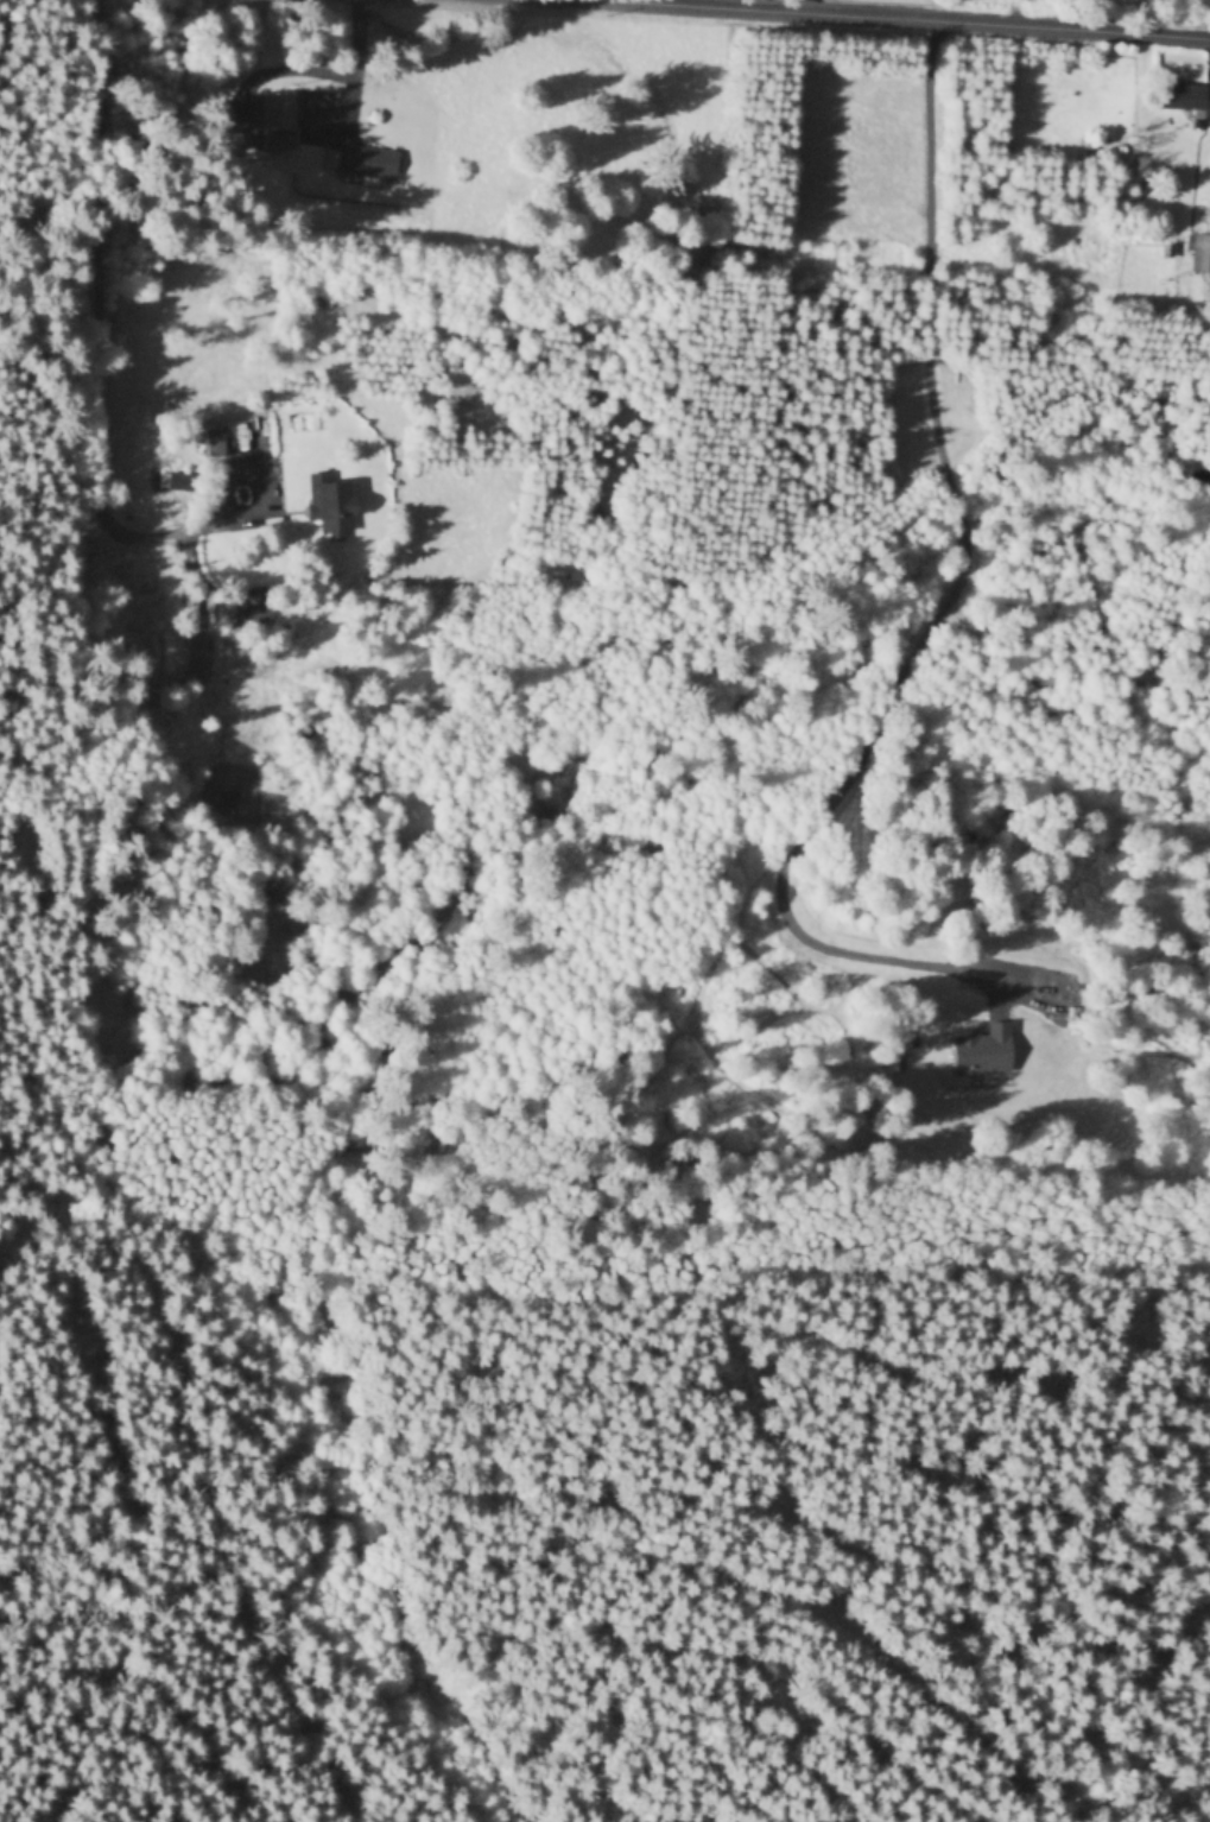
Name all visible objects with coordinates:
road: (794, 23)
building: (1180, 96)
building: (278, 110)
building: (362, 164)
building: (1199, 253)
building: (331, 507)
road: (945, 607)

